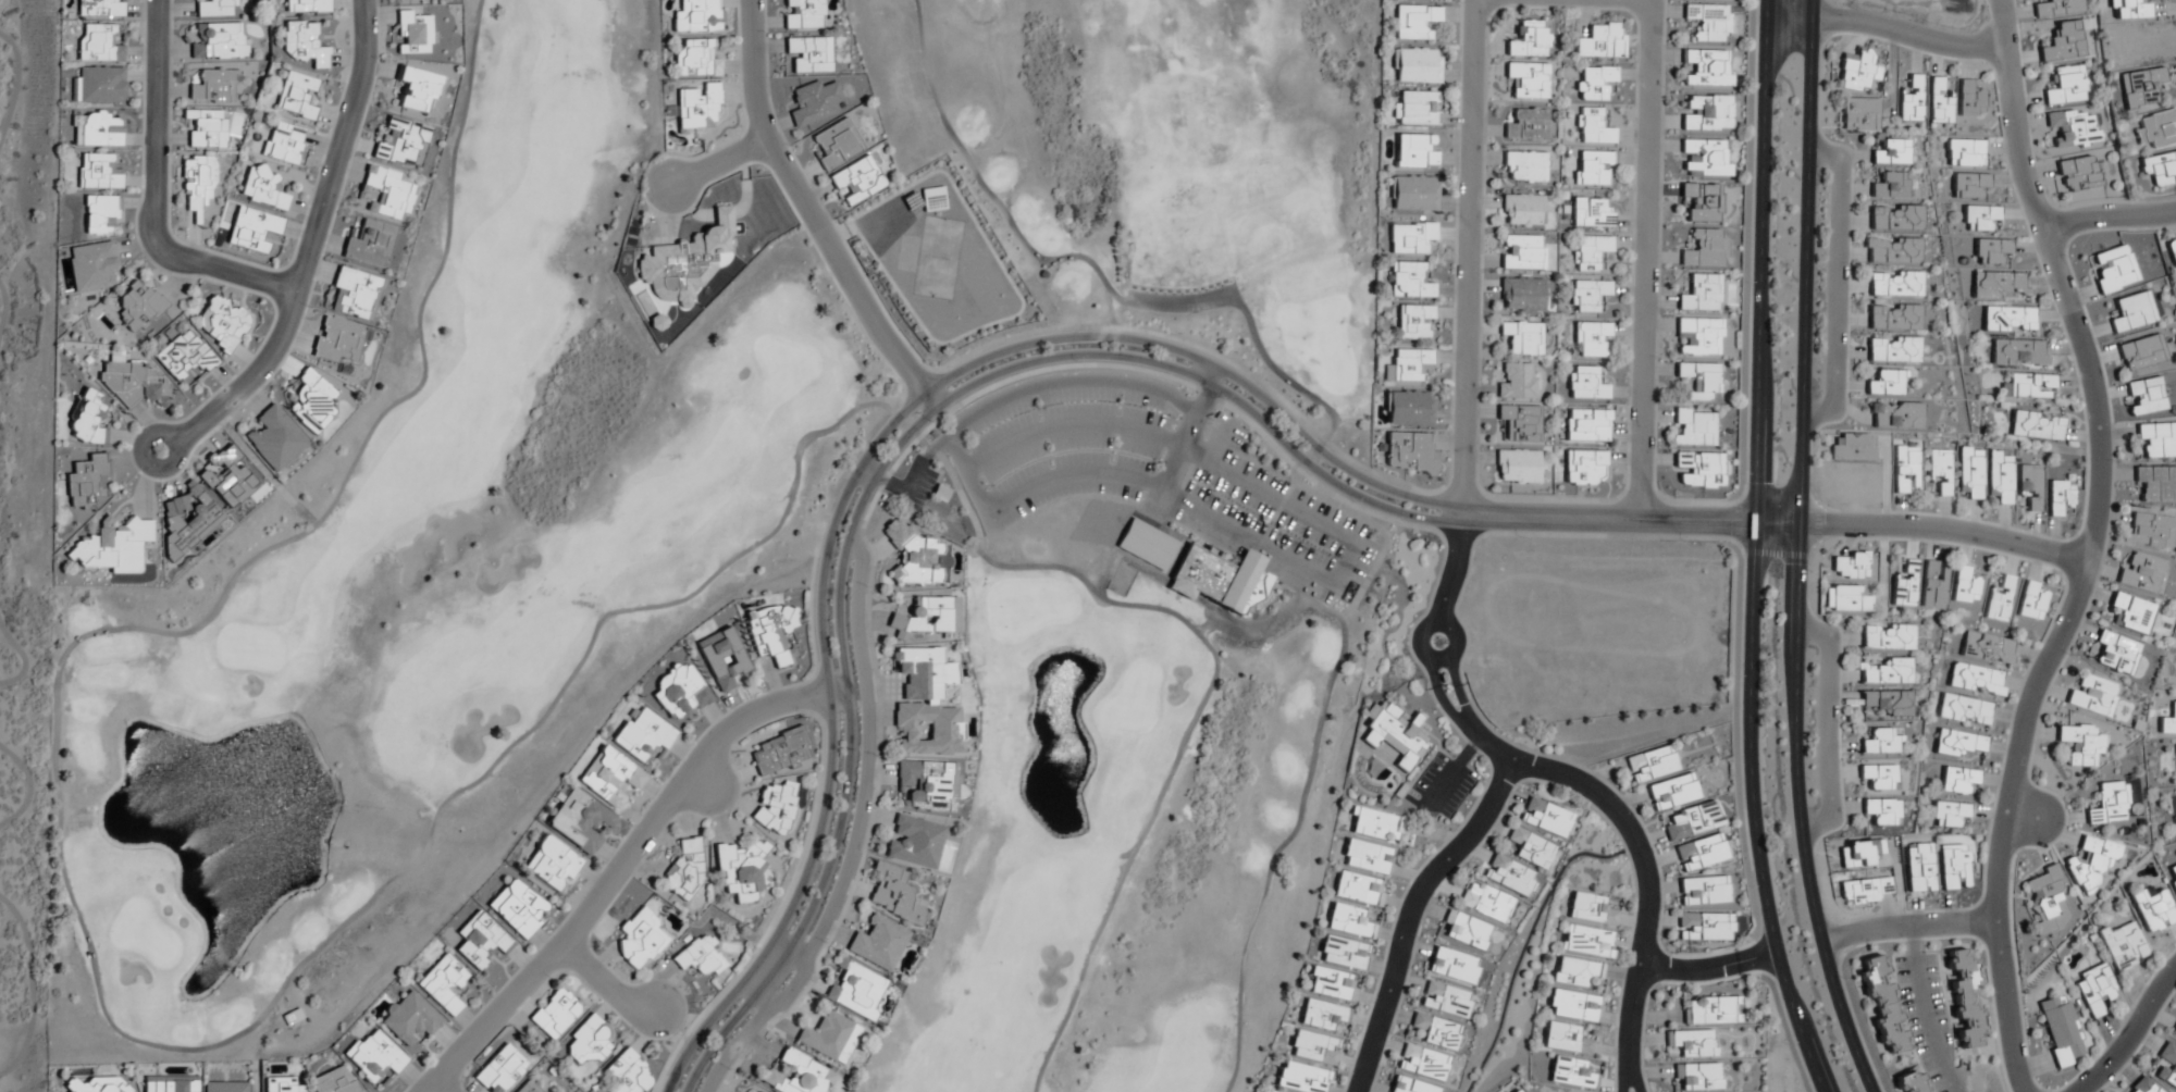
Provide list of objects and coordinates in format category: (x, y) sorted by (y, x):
building: (307, 5)
building: (215, 8)
building: (2057, 8)
building: (100, 9)
building: (2127, 9)
building: (802, 14)
building: (696, 16)
building: (1413, 22)
building: (1709, 22)
building: (413, 33)
road: (1887, 36)
building: (1529, 39)
building: (219, 41)
building: (1600, 41)
building: (98, 44)
building: (302, 44)
building: (809, 54)
street lamp: (379, 60)
building: (695, 60)
building: (1415, 66)
building: (1708, 67)
building: (1855, 71)
building: (1529, 79)
building: (1594, 83)
building: (99, 85)
street lamp: (1747, 85)
building: (2067, 86)
building: (213, 87)
building: (2140, 87)
building: (417, 89)
road: (20, 91)
building: (295, 95)
building: (1968, 100)
building: (1911, 101)
building: (815, 102)
building: (1938, 103)
building: (697, 108)
building: (1415, 109)
building: (1706, 113)
building: (1859, 114)
building: (1526, 125)
building: (1592, 126)
building: (206, 127)
building: (2074, 128)
building: (2156, 129)
building: (99, 131)
building: (283, 142)
building: (403, 144)
building: (836, 144)
street lamp: (171, 151)
building: (1414, 151)
building: (1891, 152)
building: (1965, 152)
building: (1704, 158)
road: (717, 164)
building: (1523, 166)
building: (1593, 169)
building: (2160, 169)
building: (97, 172)
building: (2078, 173)
street lamp: (1818, 176)
building: (856, 181)
building: (197, 184)
building: (1968, 185)
building: (1890, 186)
building: (262, 188)
building: (387, 193)
building: (1413, 193)
road: (153, 195)
building: (1702, 201)
building: (1522, 210)
building: (100, 213)
building: (1591, 213)
road: (809, 215)
building: (1894, 218)
building: (1978, 218)
road: (2110, 220)
building: (251, 228)
building: (1410, 237)
road: (310, 243)
building: (369, 244)
street lamp: (209, 249)
building: (1705, 250)
building: (1891, 250)
building: (1990, 250)
building: (2172, 251)
building: (1521, 252)
building: (1590, 252)
road: (1467, 258)
street lamp: (2068, 258)
building: (685, 261)
road: (1643, 261)
street lamp: (1851, 265)
building: (91, 266)
building: (2114, 270)
building: (1409, 281)
street lamp: (1742, 283)
building: (1893, 284)
building: (1999, 285)
road: (1835, 286)
building: (355, 294)
building: (1522, 294)
building: (1701, 294)
building: (1587, 296)
building: (137, 307)
street lamp: (307, 308)
road: (1190, 309)
building: (2132, 312)
road: (4, 314)
building: (1892, 317)
building: (2007, 319)
building: (654, 322)
building: (1414, 322)
building: (221, 323)
building: (1697, 336)
building: (1521, 339)
building: (1591, 339)
building: (337, 342)
building: (1892, 349)
building: (2019, 352)
building: (2141, 352)
building: (184, 356)
building: (1409, 364)
road: (1215, 377)
building: (1699, 380)
building: (1516, 382)
building: (132, 383)
building: (1886, 383)
building: (1585, 384)
building: (2028, 386)
street lamp: (1814, 390)
building: (2144, 396)
building: (311, 402)
building: (1408, 408)
building: (1895, 415)
building: (88, 419)
building: (1520, 424)
street lamp: (138, 426)
building: (1586, 426)
building: (2036, 426)
building: (1693, 427)
building: (274, 439)
building: (2156, 440)
building: (1853, 448)
building: (1408, 452)
road: (865, 458)
street lamp: (2115, 463)
road: (153, 467)
building: (1517, 467)
building: (1584, 468)
building: (1906, 468)
building: (1699, 470)
building: (1940, 470)
building: (1970, 472)
road: (879, 474)
street lamp: (1739, 474)
parking lot: (1163, 476)
building: (2001, 476)
building: (85, 481)
road: (1071, 481)
building: (2155, 483)
building: (2030, 485)
building: (2058, 496)
park: (1135, 508)
street lamp: (1955, 516)
park: (24, 517)
road: (1629, 522)
building: (2151, 532)
road: (1942, 535)
street lamp: (1519, 538)
street lamp: (1683, 542)
building: (112, 546)
road: (2088, 546)
road: (1756, 550)
road: (1798, 550)
building: (917, 558)
building: (1849, 567)
street lamp: (1809, 572)
building: (2142, 573)
building: (1208, 574)
park: (430, 579)
building: (1933, 584)
building: (1904, 585)
street lamp: (865, 586)
building: (1963, 586)
building: (1845, 599)
building: (1999, 600)
building: (2030, 601)
building: (2131, 613)
building: (922, 618)
building: (771, 632)
building: (1886, 636)
road: (2, 640)
building: (1988, 648)
building: (2115, 654)
street lamp: (2068, 655)
building: (721, 658)
road: (25, 659)
building: (1882, 671)
street lamp: (1732, 677)
building: (1977, 680)
building: (680, 692)
building: (2092, 696)
building: (1887, 703)
building: (924, 705)
building: (1965, 710)
street lamp: (800, 715)
building: (2168, 721)
street lamp: (1840, 723)
building: (1394, 734)
building: (643, 736)
building: (1882, 742)
building: (1957, 744)
building: (2080, 744)
building: (780, 752)
road: (869, 754)
street lamp: (876, 756)
street lamp: (1451, 757)
building: (1650, 764)
building: (609, 775)
building: (1878, 777)
street lamp: (1484, 778)
road: (1303, 779)
street lamp: (1808, 780)
building: (1957, 780)
road: (701, 784)
road: (1571, 784)
building: (927, 785)
road: (33, 789)
building: (1672, 792)
street lamp: (1417, 796)
building: (2109, 804)
building: (775, 807)
building: (1882, 811)
building: (1949, 814)
building: (1544, 818)
building: (580, 821)
building: (1692, 821)
building: (1375, 824)
street lamp: (630, 826)
street lamp: (2067, 827)
building: (914, 842)
building: (1530, 848)
building: (1699, 853)
building: (1859, 854)
building: (1365, 857)
road: (1124, 861)
building: (552, 864)
building: (2091, 864)
road: (620, 865)
building: (1954, 867)
building: (1920, 868)
building: (683, 872)
building: (740, 872)
building: (1507, 876)
building: (2172, 877)
street lamp: (1744, 886)
building: (1356, 889)
building: (1702, 891)
building: (1864, 892)
building: (893, 895)
street lamp: (1434, 898)
building: (2047, 901)
building: (1484, 903)
building: (516, 908)
building: (1591, 910)
street lamp: (1907, 910)
building: (2153, 910)
road: (1414, 917)
road: (8, 920)
building: (1348, 921)
building: (1703, 927)
road: (1907, 927)
building: (1466, 931)
building: (639, 939)
building: (480, 940)
building: (1587, 942)
street lamp: (824, 943)
building: (877, 944)
building: (2123, 945)
street lamp: (2014, 950)
building: (1342, 953)
building: (700, 958)
street lamp: (2158, 965)
building: (1452, 967)
road: (1710, 969)
building: (1575, 972)
street lamp: (549, 979)
street lamp: (1843, 979)
building: (443, 984)
road: (605, 984)
road: (792, 985)
building: (1332, 985)
road: (33, 988)
building: (2094, 989)
building: (854, 990)
building: (1963, 995)
building: (1444, 1000)
building: (1882, 1005)
building: (1573, 1006)
building: (1709, 1010)
building: (554, 1014)
building: (1322, 1015)
building: (292, 1018)
building: (408, 1018)
street lamp: (458, 1031)
building: (2061, 1031)
road: (2128, 1031)
building: (1435, 1032)
street lamp: (633, 1033)
building: (2174, 1033)
street lamp: (1390, 1034)
road: (227, 1035)
building: (829, 1037)
building: (1566, 1040)
building: (588, 1041)
building: (1692, 1043)
street lamp: (1785, 1044)
road: (737, 1046)
building: (1313, 1048)
building: (373, 1055)
building: (1421, 1064)
building: (2167, 1066)
building: (499, 1070)
street lamp: (728, 1070)
building: (625, 1072)
building: (1571, 1074)
building: (798, 1075)
building: (1697, 1077)
building: (1300, 1078)
building: (333, 1081)
building: (1912, 1081)
building: (91, 1083)
building: (169, 1084)
building: (280, 1084)
building: (1409, 1085)
building: (2142, 1085)
building: (225, 1087)
building: (528, 1087)
road: (440, 1088)
street lamp: (2050, 1089)
building: (1517, 1091)

